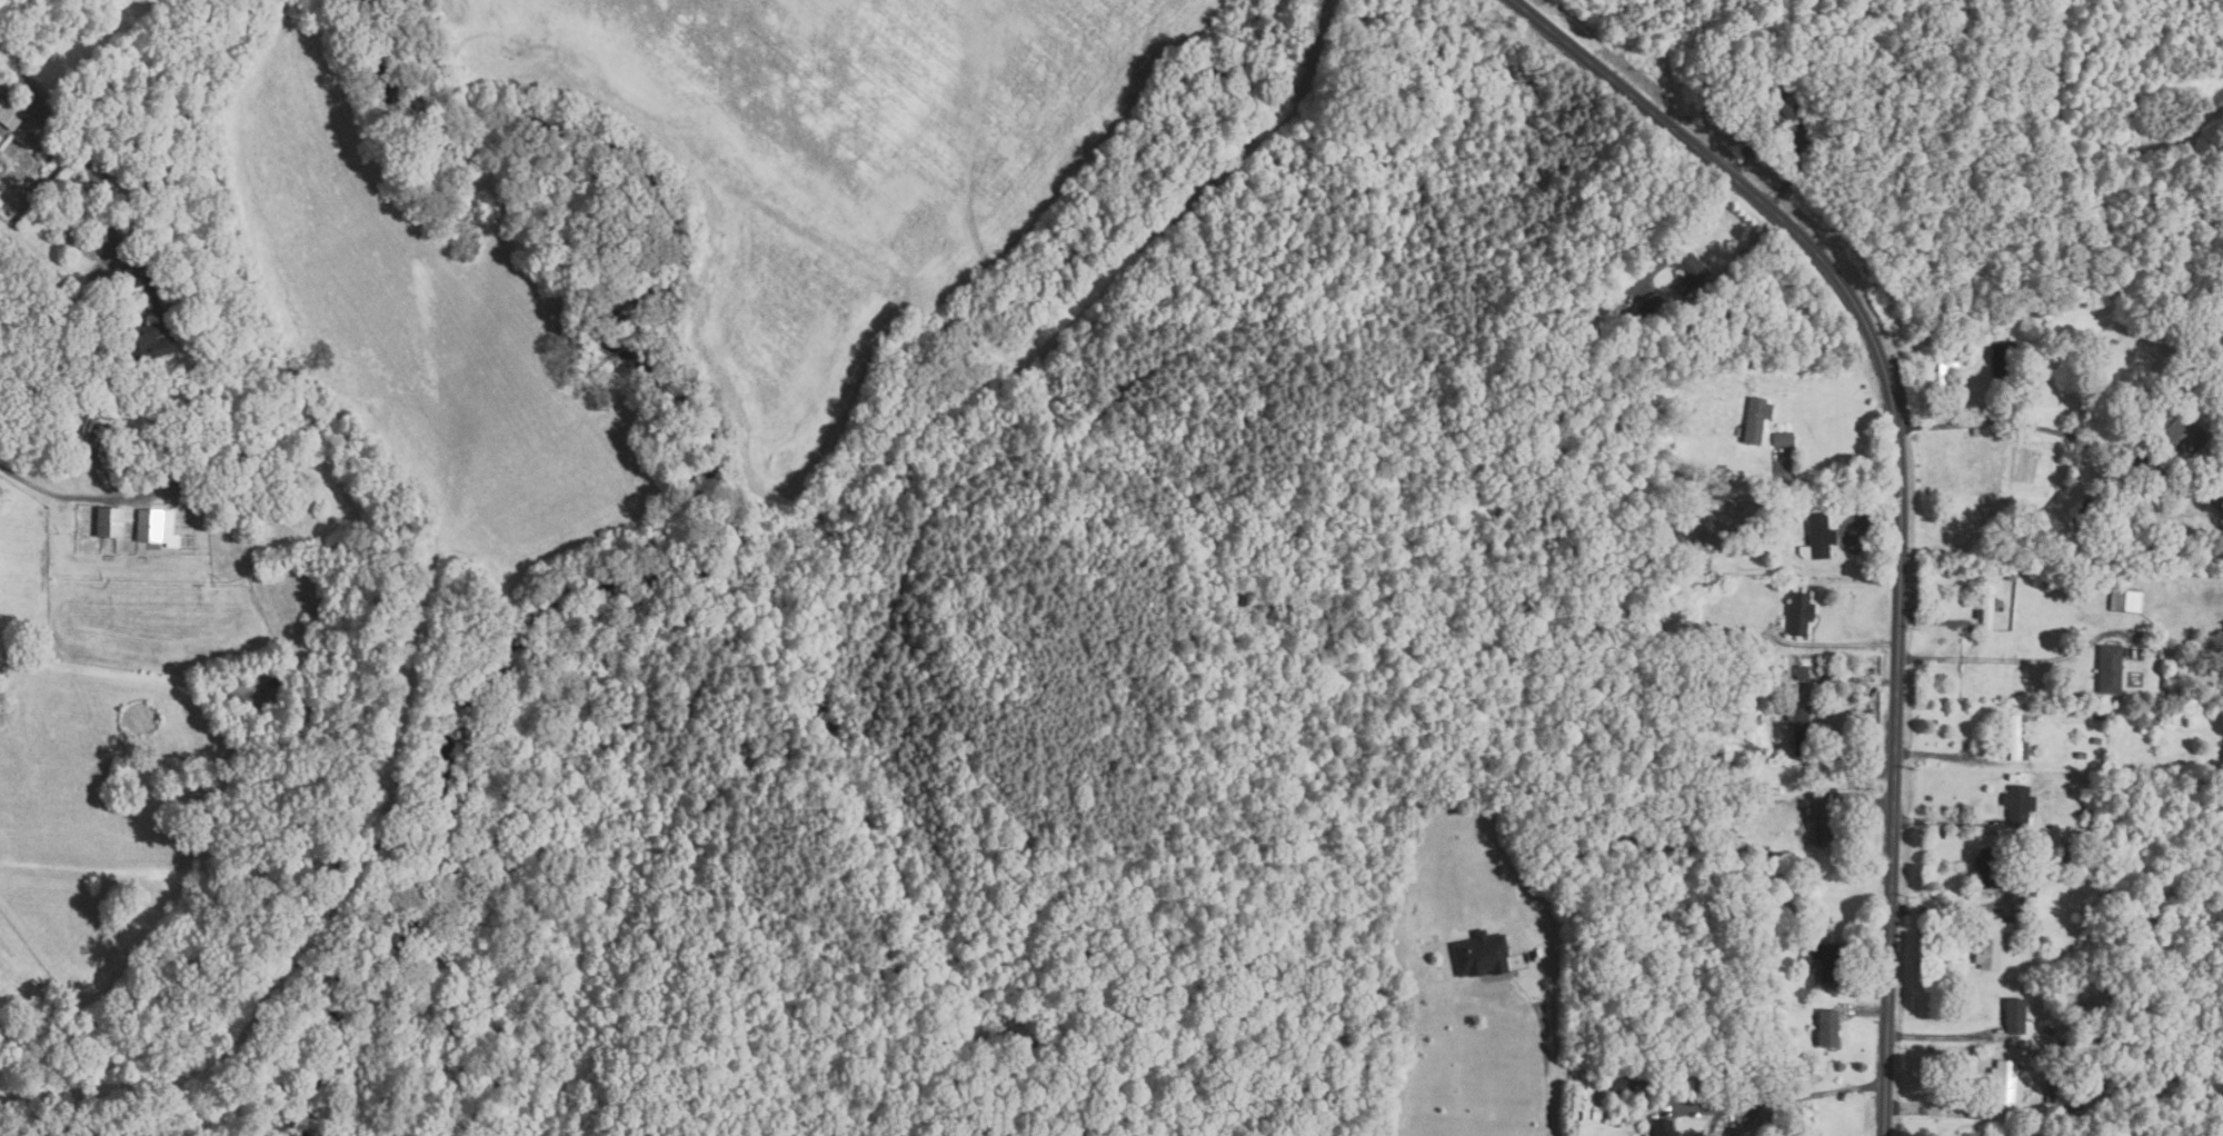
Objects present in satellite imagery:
building: (1777, 94)
building: (8, 116)
road: (49, 126)
road: (1791, 132)
building: (29, 140)
building: (44, 152)
building: (1684, 267)
road: (101, 280)
building: (1655, 306)
building: (158, 316)
building: (1638, 325)
river: (2146, 349)
building: (2005, 361)
building: (1945, 387)
building: (199, 399)
building: (172, 406)
building: (2213, 413)
building: (1755, 419)
road: (2003, 423)
building: (2181, 438)
building: (1784, 439)
road: (195, 471)
building: (2160, 481)
road: (1901, 486)
road: (1830, 488)
building: (2217, 497)
building: (2095, 499)
building: (286, 505)
building: (1795, 519)
building: (108, 524)
building: (154, 528)
road: (1876, 530)
building: (1820, 536)
building: (2012, 575)
building: (2126, 601)
building: (1988, 608)
building: (1798, 615)
building: (1644, 628)
road: (1955, 642)
road: (1841, 645)
road: (2048, 659)
building: (2111, 670)
building: (1802, 674)
building: (1763, 679)
building: (2024, 719)
building: (1801, 730)
building: (2016, 741)
building: (2096, 741)
building: (2081, 756)
road: (1954, 759)
road: (1871, 803)
building: (2018, 806)
building: (1744, 809)
building: (2081, 815)
road: (1946, 823)
building: (1823, 824)
building: (1741, 850)
building: (1754, 853)
building: (2072, 857)
building: (2047, 868)
building: (1992, 871)
building: (2027, 894)
road: (1953, 910)
building: (1994, 944)
building: (1483, 956)
building: (1828, 960)
road: (1867, 989)
road: (1870, 1013)
building: (2014, 1017)
building: (1828, 1029)
road: (1941, 1037)
road: (1551, 1053)
building: (1795, 1062)
building: (1643, 1067)
building: (1383, 1077)
building: (2005, 1083)
building: (1621, 1084)
building: (2159, 1087)
building: (2051, 1090)
building: (2022, 1096)
road: (1787, 1097)
road: (1933, 1108)
building: (2075, 1109)
building: (1664, 1128)
road: (1406, 1129)
building: (1970, 1135)

